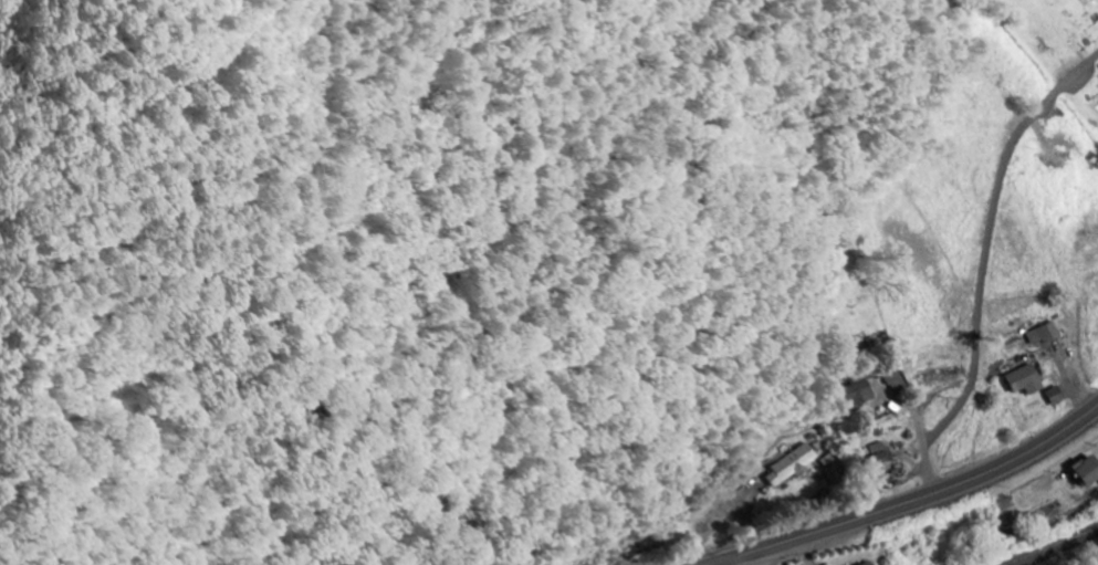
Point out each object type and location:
park: (1059, 50)
building: (1043, 334)
building: (939, 374)
building: (1023, 379)
building: (854, 394)
building: (1054, 395)
road: (921, 446)
building: (789, 465)
building: (1087, 470)
road: (913, 500)
railway: (1052, 546)
road: (746, 559)
building: (872, 564)

